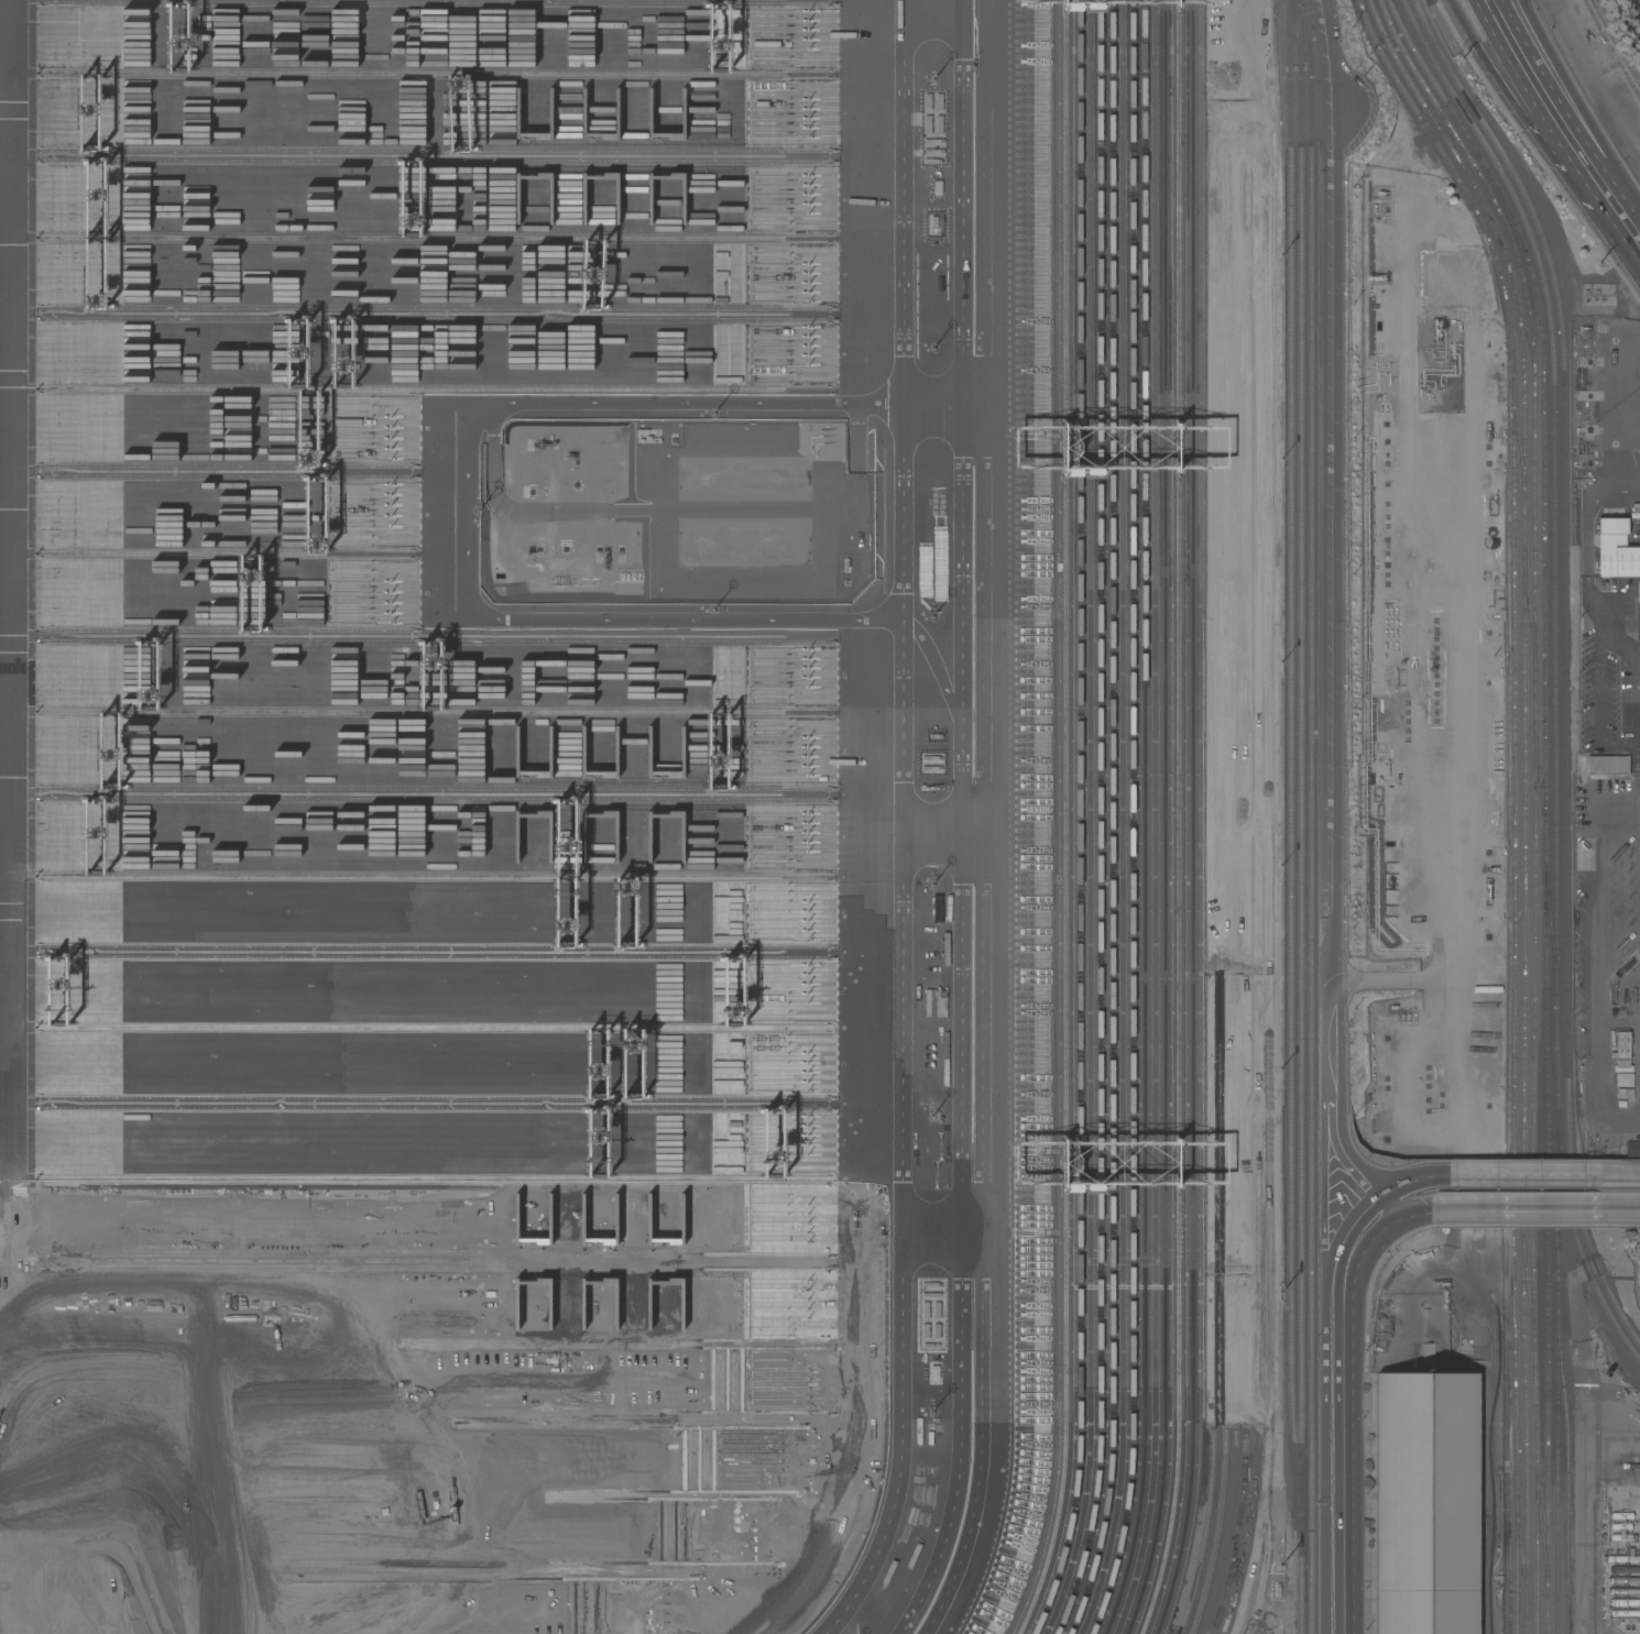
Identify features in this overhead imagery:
road: (932, 6)
road: (1526, 69)
road: (1498, 76)
road: (1579, 103)
road: (1593, 175)
road: (1630, 227)
road: (947, 405)
road: (990, 436)
railway: (1521, 437)
railway: (1322, 452)
road: (467, 509)
railway: (1556, 536)
building: (1616, 549)
railway: (1532, 608)
railway: (1567, 658)
road: (930, 664)
road: (1334, 686)
railway: (1078, 692)
railway: (1098, 692)
railway: (1111, 692)
railway: (1130, 692)
railway: (1144, 692)
railway: (1162, 692)
railway: (1190, 692)
railway: (1288, 757)
building: (1608, 765)
railway: (1543, 781)
railway: (1236, 782)
railway: (1265, 783)
railway: (1255, 786)
railway: (1517, 798)
railway: (1527, 798)
railway: (1538, 798)
railway: (1548, 798)
building: (1396, 805)
road: (1620, 811)
railway: (1299, 816)
railway: (1311, 816)
railway: (1245, 827)
road: (931, 843)
road: (1598, 914)
railway: (1553, 934)
building: (1623, 1044)
road: (931, 1051)
road: (1598, 1088)
building: (1625, 1093)
building: (1633, 1148)
road: (1535, 1174)
road: (1630, 1175)
road: (1408, 1178)
road: (1540, 1206)
road: (1411, 1207)
railway: (1581, 1239)
building: (1639, 1266)
railway: (1532, 1296)
building: (1639, 1296)
railway: (1559, 1371)
railway: (1553, 1379)
road: (1335, 1414)
railway: (1570, 1423)
building: (1428, 1503)
building: (1622, 1514)
building: (1621, 1525)
railway: (1544, 1535)
building: (1621, 1536)
railway: (1523, 1555)
building: (1622, 1558)
building: (1625, 1569)
building: (1625, 1580)
building: (1625, 1591)
building: (1625, 1602)
building: (1626, 1613)

